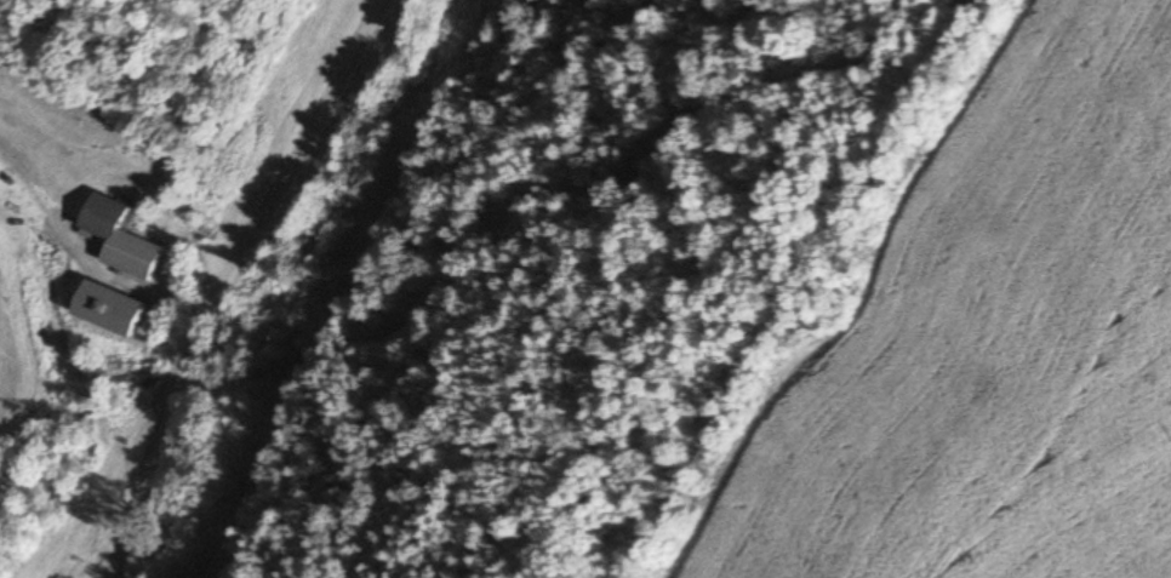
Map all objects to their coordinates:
road: (35, 199)
building: (105, 217)
building: (131, 256)
road: (227, 279)
road: (136, 282)

